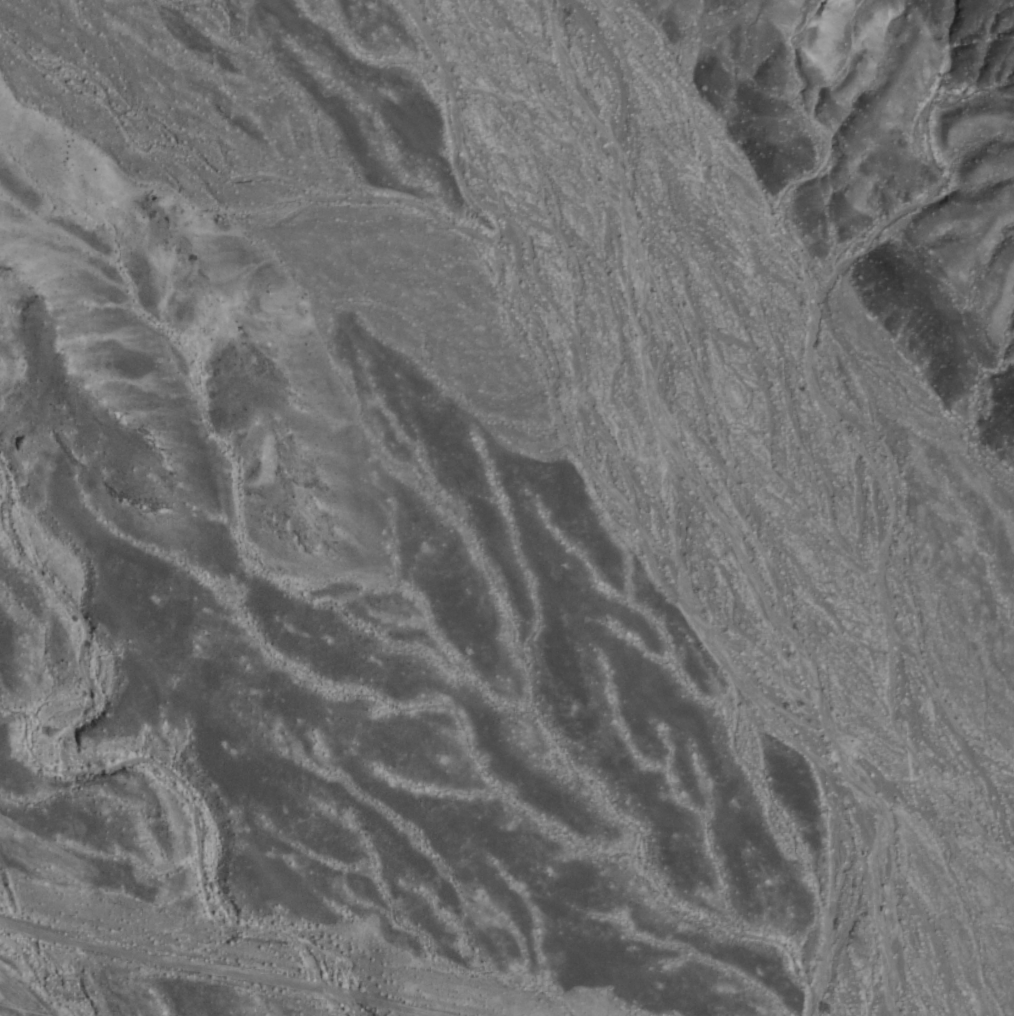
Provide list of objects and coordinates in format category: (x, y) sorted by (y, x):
road: (233, 962)

